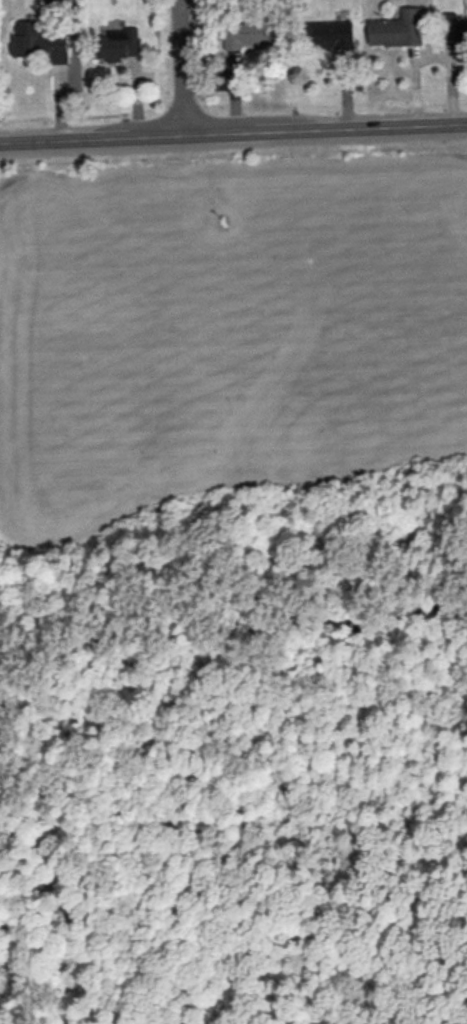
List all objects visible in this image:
building: (454, 28)
building: (397, 29)
building: (248, 34)
building: (332, 34)
building: (39, 41)
building: (117, 44)
road: (176, 66)
road: (233, 130)

